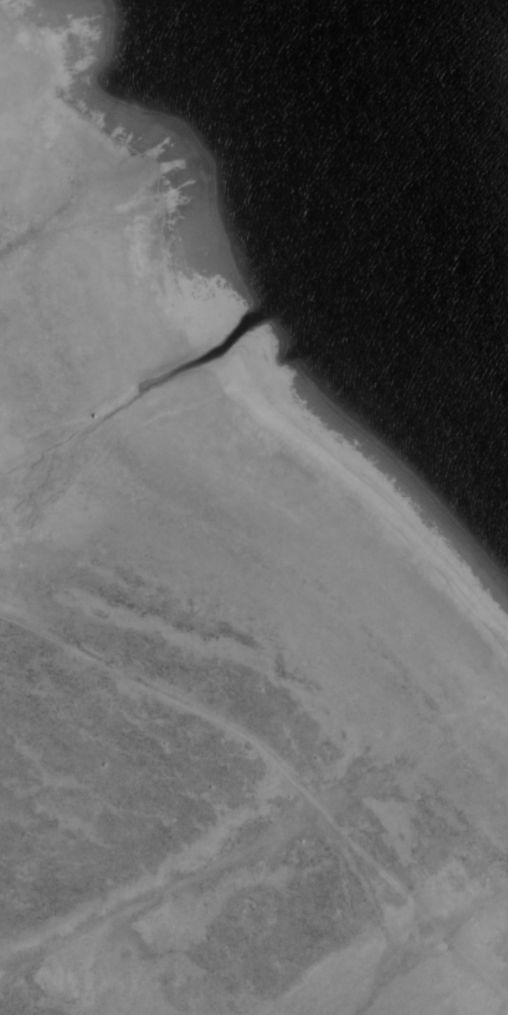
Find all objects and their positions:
road: (110, 676)

